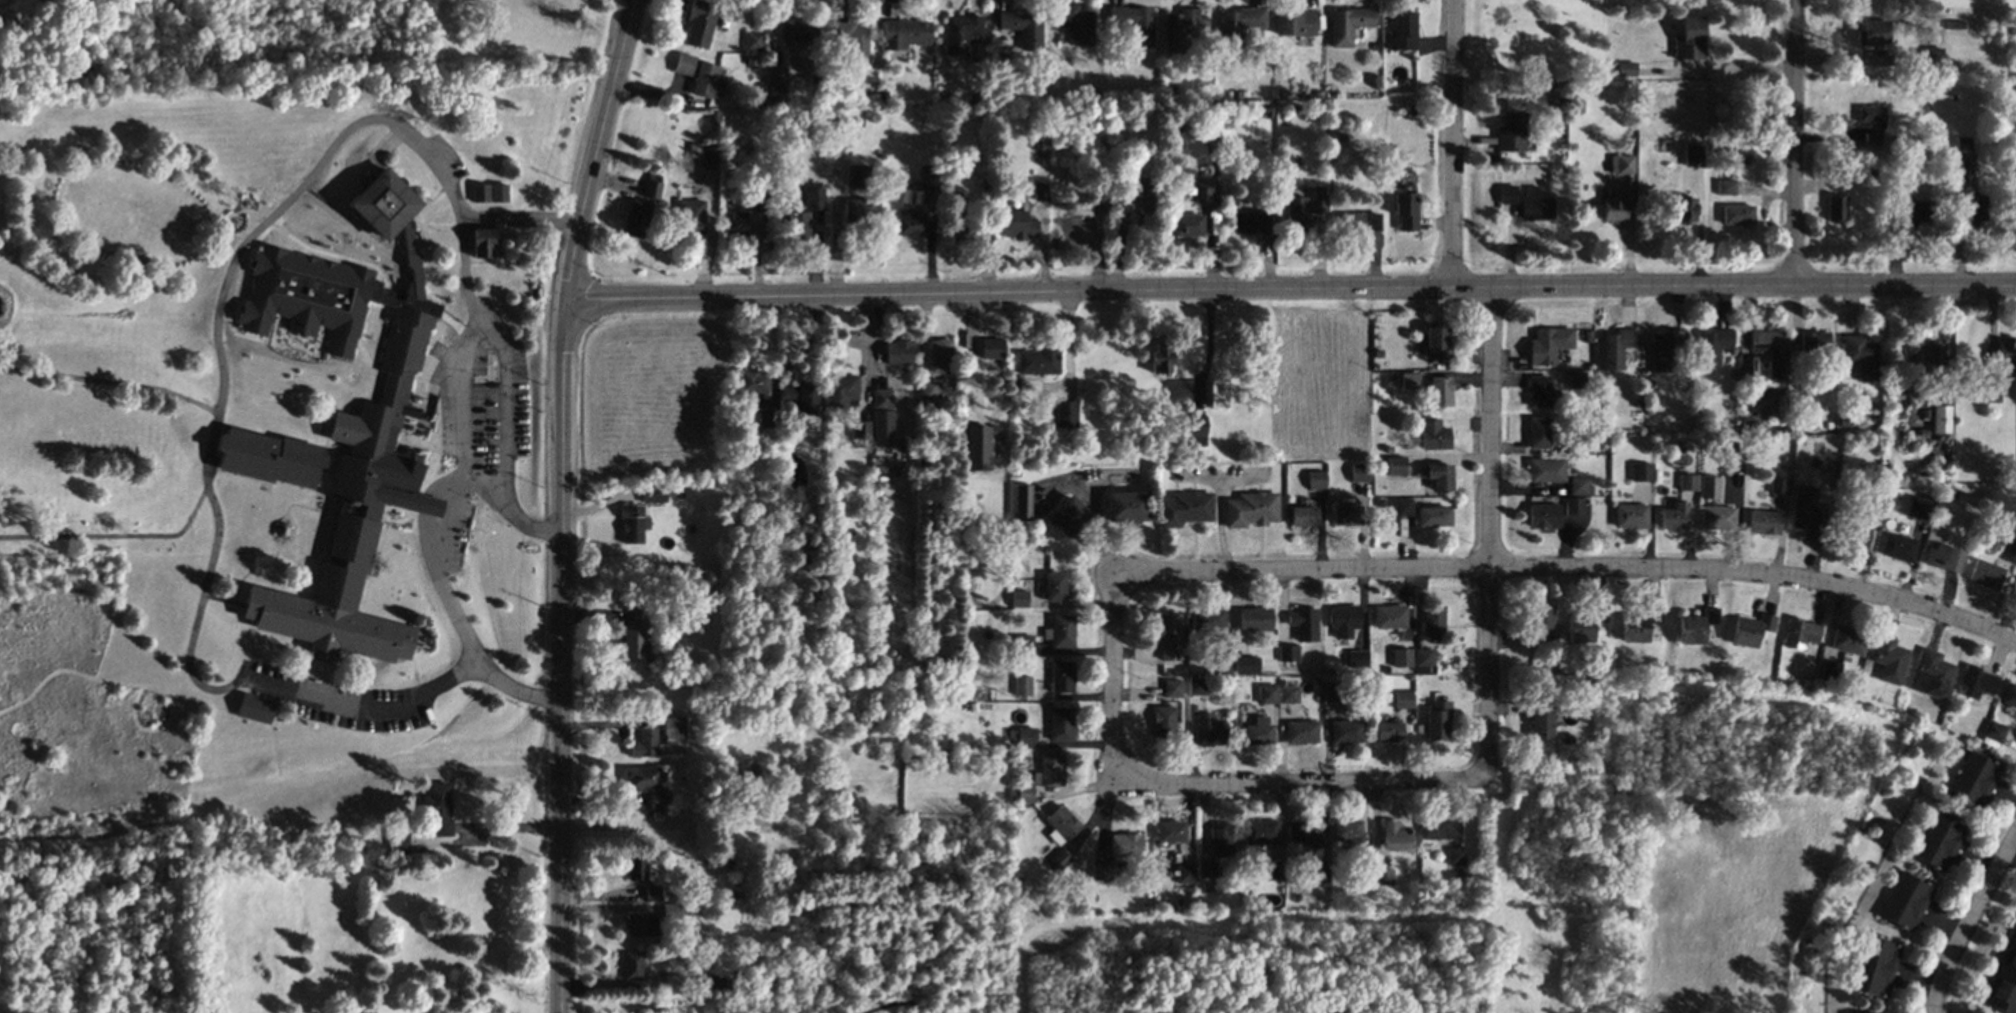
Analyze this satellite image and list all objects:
building: (1295, 22)
building: (699, 23)
building: (1134, 23)
building: (1076, 24)
building: (1348, 24)
building: (1238, 25)
building: (1024, 28)
building: (798, 30)
building: (1181, 31)
building: (1403, 31)
building: (1873, 32)
building: (904, 34)
building: (1689, 38)
building: (752, 41)
building: (851, 41)
building: (1934, 54)
road: (1736, 66)
building: (1626, 69)
building: (696, 74)
building: (776, 83)
building: (1872, 115)
road: (366, 119)
building: (1510, 132)
road: (1451, 144)
road: (1794, 144)
building: (1963, 145)
road: (379, 150)
road: (593, 151)
building: (701, 153)
building: (1692, 155)
building: (1622, 164)
building: (858, 175)
building: (927, 180)
building: (651, 186)
building: (1725, 187)
building: (1040, 191)
building: (1203, 192)
building: (488, 193)
building: (1507, 194)
building: (814, 195)
building: (1137, 198)
building: (1317, 200)
road: (427, 203)
building: (1535, 205)
building: (1971, 207)
building: (1836, 208)
building: (860, 210)
building: (1295, 210)
building: (1405, 210)
building: (1684, 210)
building: (1911, 211)
building: (1614, 212)
building: (1737, 214)
building: (690, 216)
road: (517, 218)
building: (635, 218)
building: (1359, 222)
building: (1250, 223)
building: (735, 224)
building: (796, 225)
building: (909, 225)
building: (1017, 225)
building: (1076, 225)
building: (1186, 225)
road: (431, 228)
road: (332, 231)
road: (837, 238)
road: (202, 240)
building: (482, 243)
road: (282, 263)
road: (1290, 291)
road: (383, 292)
road: (349, 309)
road: (449, 325)
road: (468, 326)
road: (293, 339)
building: (1813, 340)
building: (1435, 342)
building: (1548, 344)
building: (1711, 346)
building: (1616, 347)
building: (991, 348)
building: (1665, 349)
building: (1769, 350)
building: (897, 352)
building: (1931, 352)
building: (2007, 352)
building: (939, 356)
building: (1860, 356)
building: (1160, 358)
building: (1037, 362)
building: (1748, 368)
road: (436, 371)
building: (1578, 379)
building: (1408, 380)
building: (753, 382)
road: (108, 384)
building: (929, 389)
building: (1439, 390)
building: (1992, 390)
building: (840, 391)
building: (1538, 391)
building: (1216, 392)
building: (799, 398)
road: (458, 406)
road: (502, 408)
building: (1066, 414)
building: (765, 417)
building: (881, 417)
building: (1940, 419)
building: (859, 430)
building: (1194, 431)
road: (434, 432)
building: (1538, 432)
building: (1433, 434)
building: (977, 448)
road: (204, 449)
building: (351, 461)
building: (1395, 465)
building: (1546, 470)
building: (1642, 472)
building: (1358, 473)
building: (1439, 476)
road: (321, 479)
building: (1315, 479)
road: (259, 482)
building: (1687, 482)
building: (1778, 485)
building: (1579, 486)
building: (1710, 487)
building: (653, 493)
road: (316, 497)
building: (1876, 500)
road: (310, 501)
building: (1022, 502)
road: (319, 505)
building: (1126, 506)
building: (1573, 506)
road: (297, 507)
building: (1401, 507)
building: (1185, 508)
building: (1920, 508)
building: (1249, 509)
road: (326, 511)
building: (1807, 512)
building: (1346, 515)
building: (1544, 515)
building: (1630, 515)
building: (1302, 516)
building: (1433, 516)
building: (1674, 516)
building: (1718, 518)
building: (1064, 519)
building: (1764, 523)
building: (632, 524)
road: (266, 529)
road: (278, 532)
road: (288, 534)
building: (1857, 536)
road: (115, 538)
building: (2007, 544)
road: (1489, 546)
building: (1898, 547)
road: (423, 551)
building: (1943, 557)
road: (1567, 569)
road: (248, 572)
building: (1985, 574)
building: (1054, 586)
building: (1018, 598)
road: (219, 601)
road: (194, 612)
building: (1389, 616)
building: (1209, 619)
building: (1254, 619)
building: (1344, 620)
building: (1303, 622)
building: (1538, 623)
building: (1584, 623)
building: (1639, 623)
building: (1433, 624)
building: (1697, 625)
building: (1750, 629)
building: (1061, 630)
building: (1800, 632)
road: (279, 636)
building: (635, 637)
building: (1168, 637)
building: (1848, 640)
building: (1023, 644)
building: (1287, 653)
building: (1401, 657)
building: (1422, 657)
road: (559, 659)
building: (1357, 659)
building: (1889, 660)
building: (1221, 664)
building: (1245, 664)
road: (307, 672)
building: (1829, 673)
building: (1930, 673)
road: (412, 675)
road: (321, 676)
building: (1062, 677)
road: (1110, 680)
building: (1975, 684)
building: (1022, 685)
building: (1196, 686)
building: (1172, 687)
building: (1267, 694)
building: (1288, 694)
building: (2010, 696)
building: (1402, 699)
road: (361, 702)
building: (251, 709)
building: (1163, 720)
building: (1437, 720)
building: (1061, 724)
building: (1540, 724)
building: (673, 727)
building: (1994, 730)
building: (1209, 731)
building: (1258, 731)
building: (1302, 731)
building: (1346, 732)
building: (1387, 732)
building: (1026, 737)
building: (643, 743)
building: (1051, 769)
building: (1974, 778)
building: (641, 779)
road: (1289, 785)
building: (1025, 793)
building: (659, 801)
building: (437, 809)
building: (1063, 823)
building: (1434, 828)
road: (500, 829)
building: (1346, 830)
building: (1170, 831)
building: (1261, 832)
building: (1304, 832)
building: (1395, 836)
building: (1221, 839)
building: (1940, 839)
building: (398, 844)
building: (1126, 846)
road: (2012, 851)
building: (1455, 855)
building: (1058, 861)
building: (635, 867)
building: (1319, 867)
building: (1208, 869)
building: (1102, 871)
building: (1185, 873)
building: (1382, 876)
airport: (1546, 888)
building: (652, 894)
building: (1908, 899)
building: (673, 913)
road: (1968, 921)
building: (634, 925)
building: (632, 965)
building: (1875, 967)
building: (713, 981)
building: (2003, 981)
building: (672, 983)

